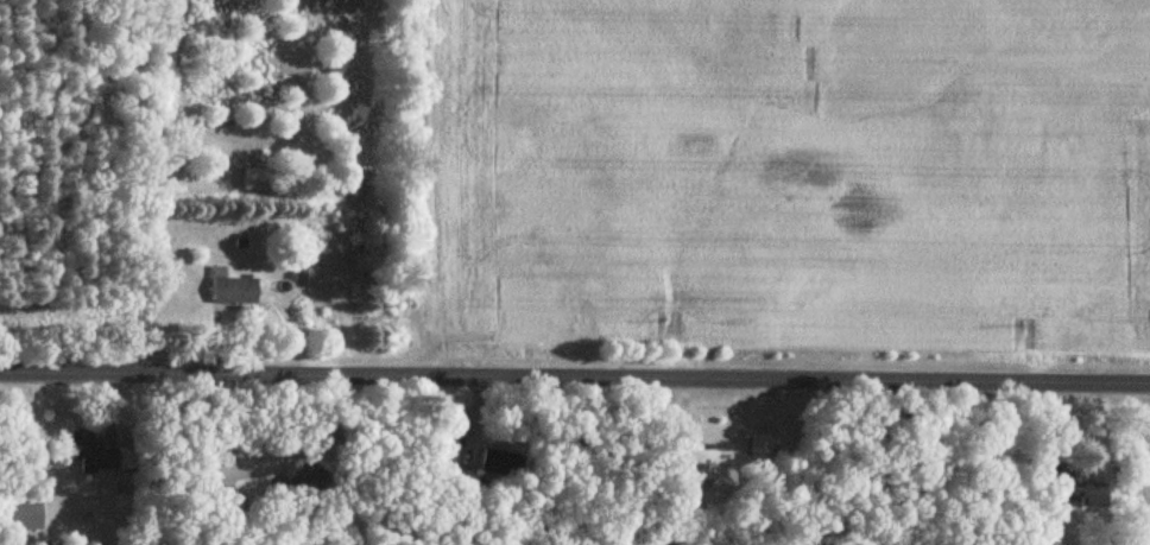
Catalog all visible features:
building: (259, 179)
building: (234, 290)
road: (575, 372)
road: (707, 443)
building: (762, 452)
building: (100, 455)
building: (714, 477)
building: (1091, 495)
building: (228, 508)
building: (25, 515)

